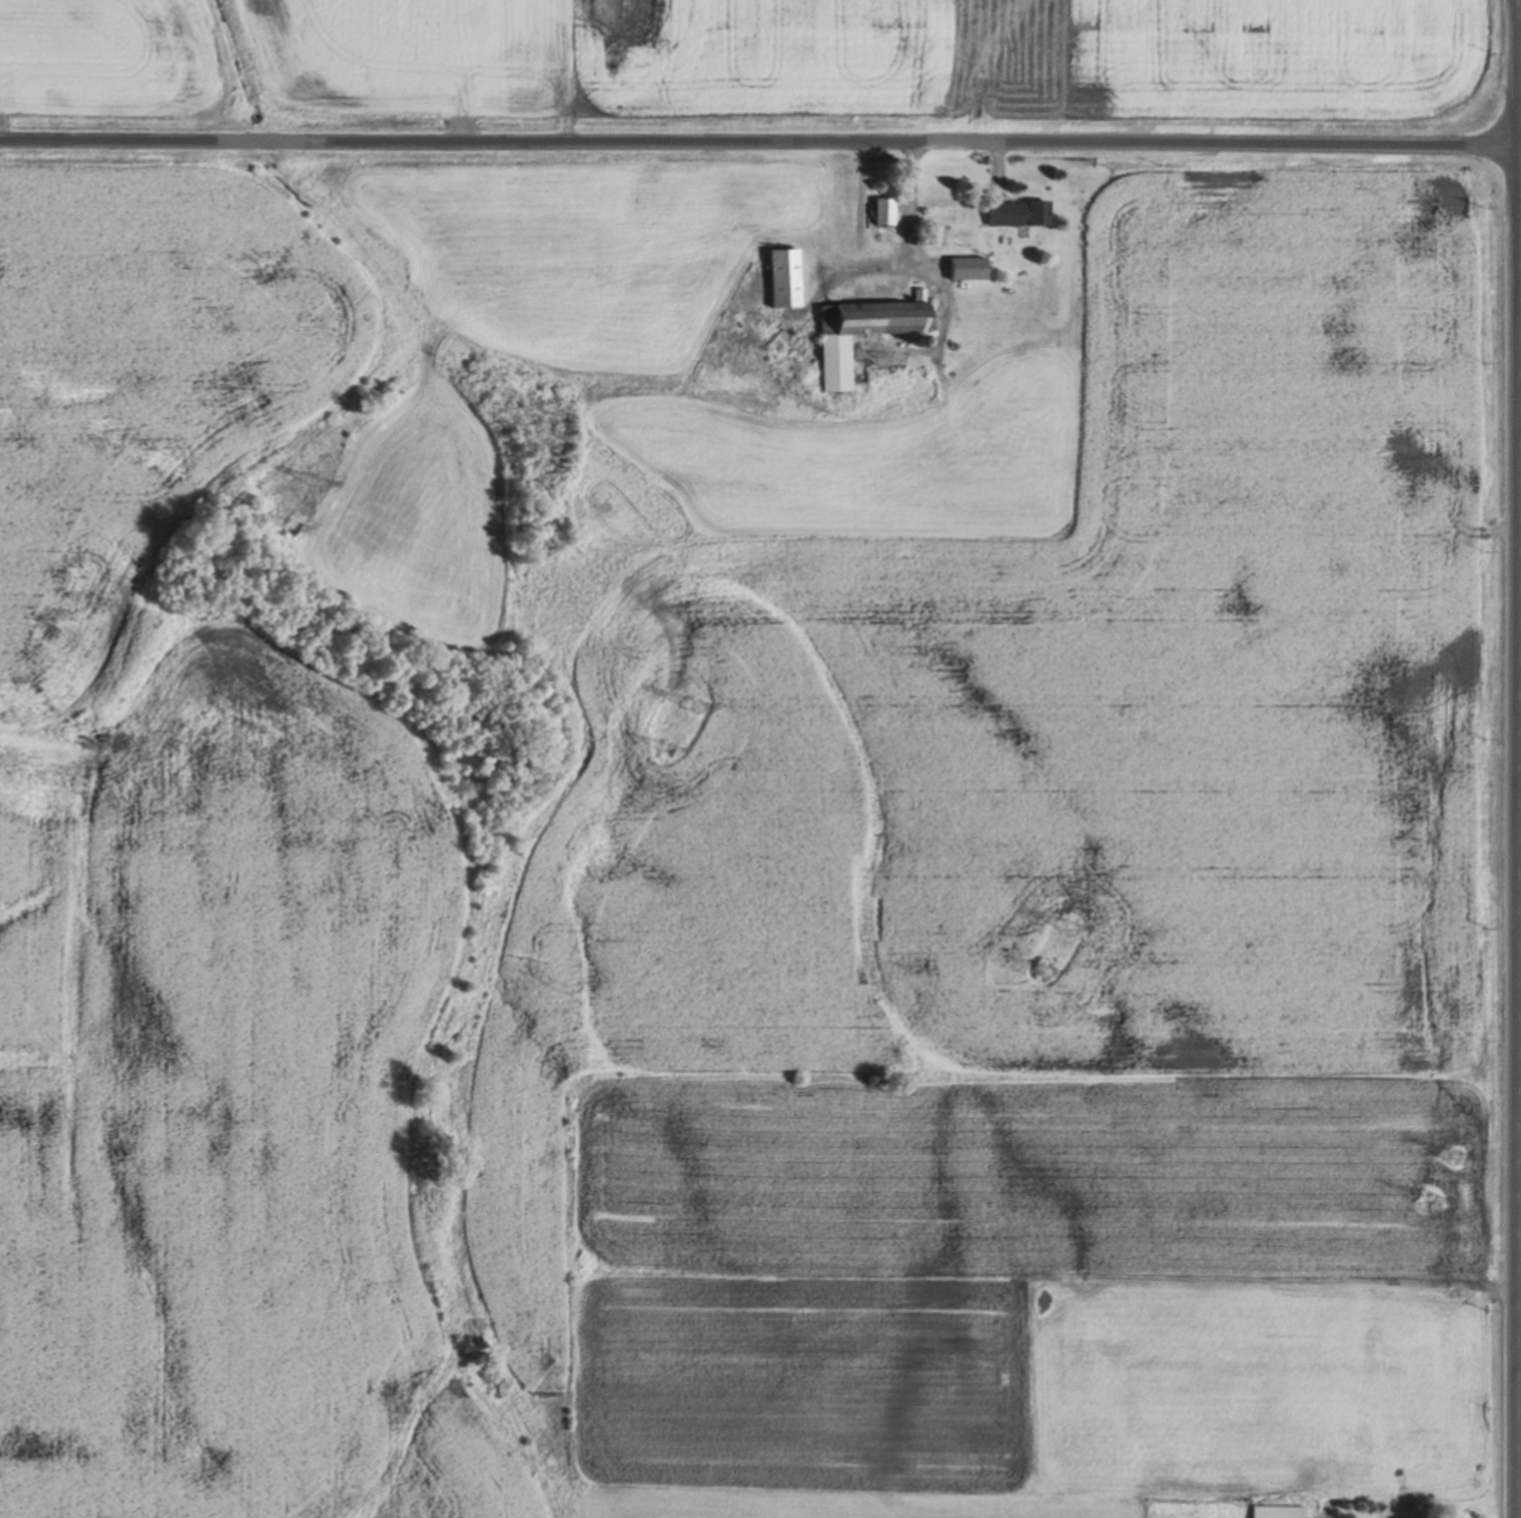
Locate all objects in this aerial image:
road: (760, 144)
building: (883, 206)
building: (1017, 208)
building: (966, 263)
building: (783, 273)
building: (860, 326)
building: (919, 339)
power tower: (316, 485)
power tower: (287, 527)
power tower: (688, 707)
power tower: (664, 749)
road: (1519, 758)
power tower: (1063, 930)
power tower: (1036, 971)
road: (1520, 1079)
power tower: (1448, 1156)
power tower: (1423, 1200)
building: (1276, 1511)

